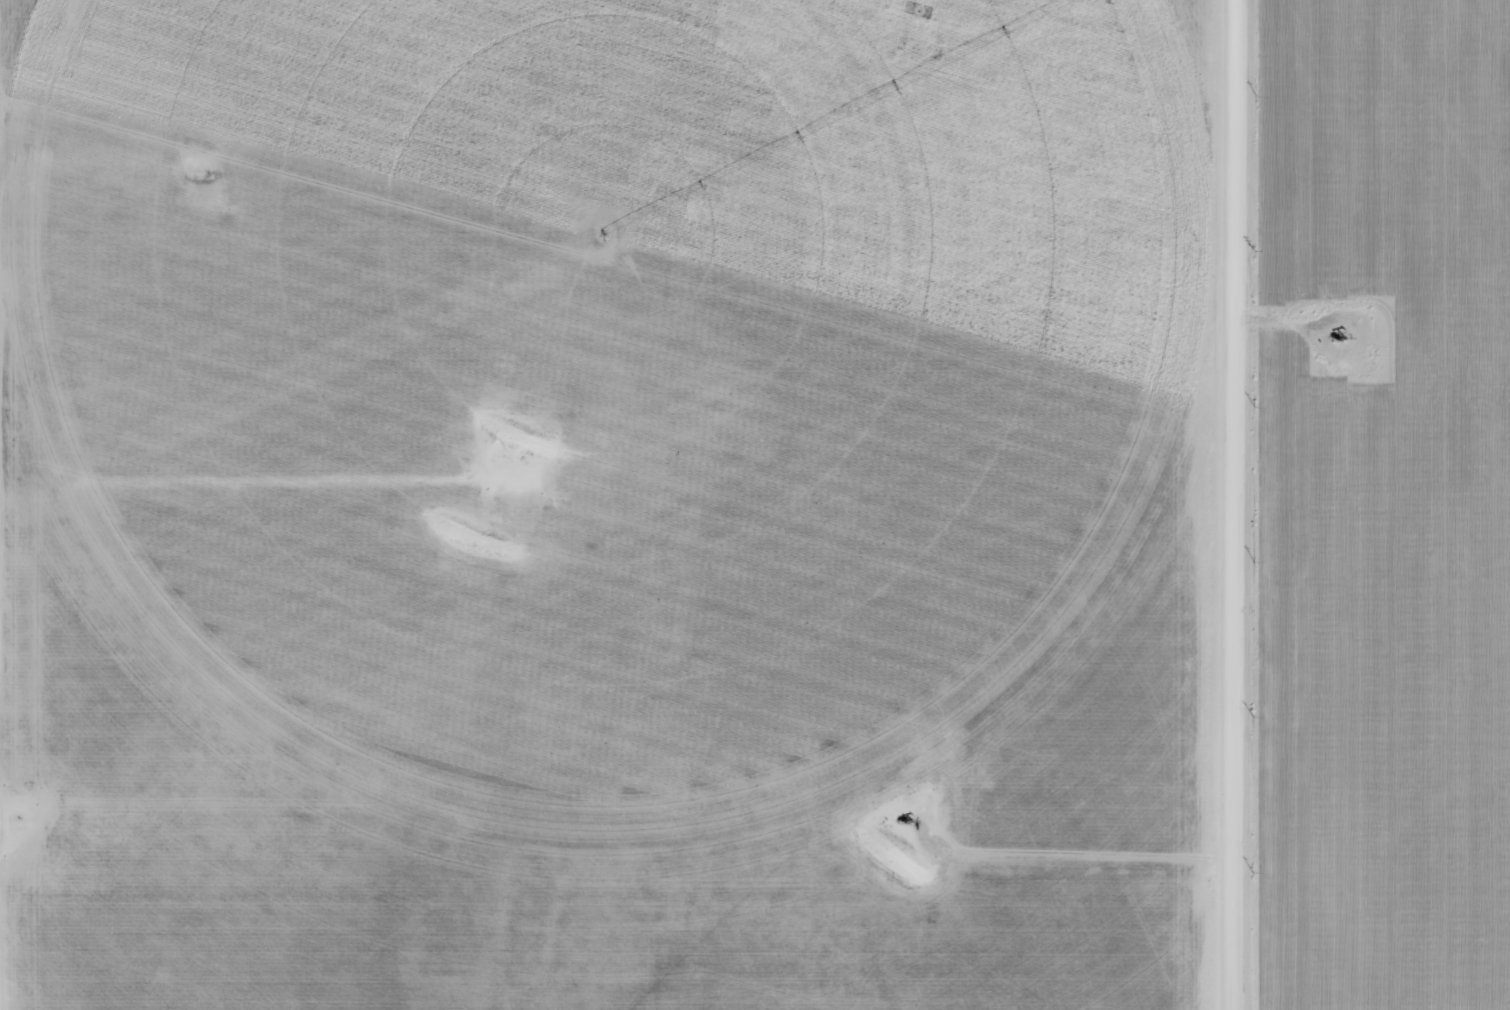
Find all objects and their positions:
road: (3, 426)
road: (1249, 504)
petroleum well: (901, 820)

